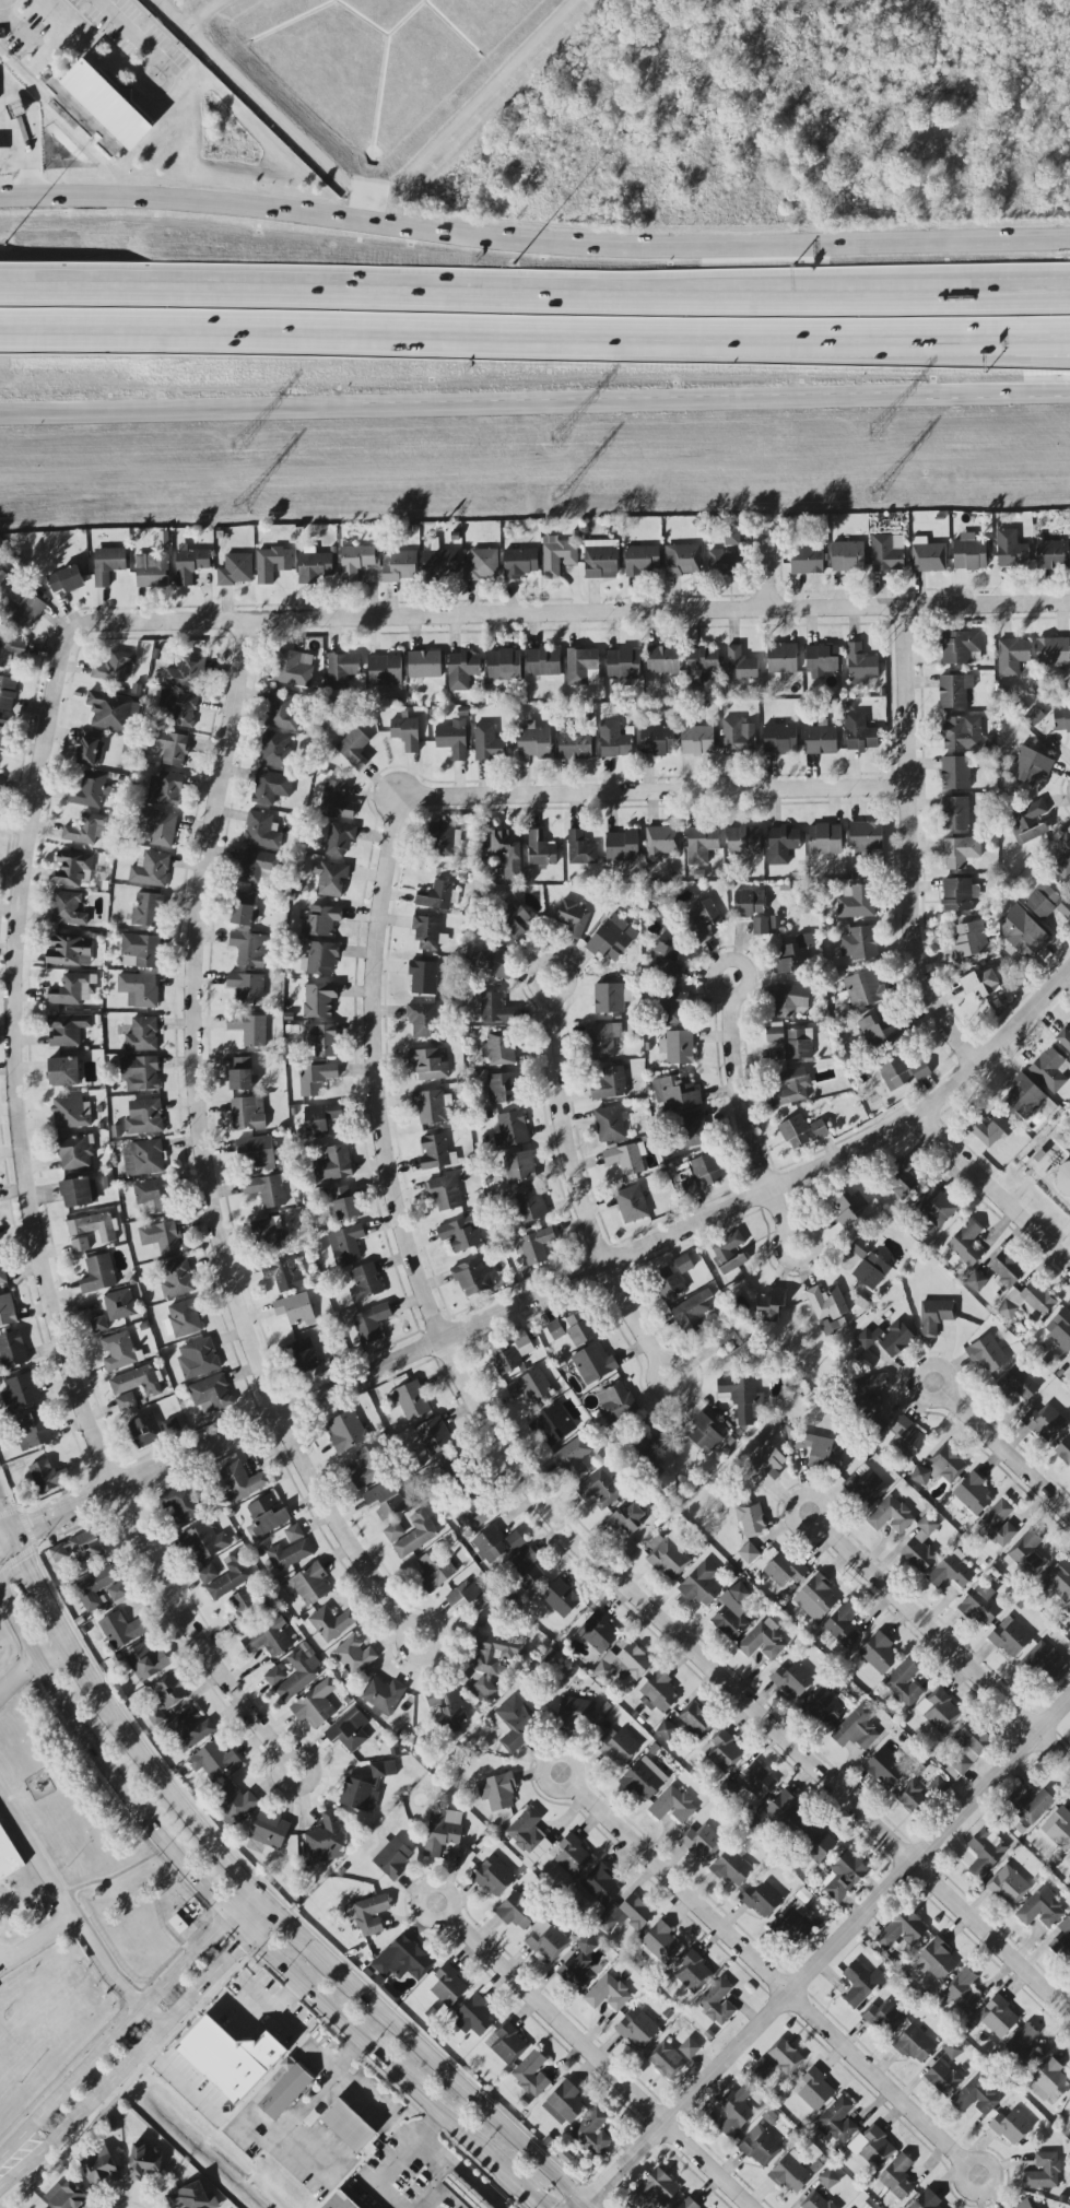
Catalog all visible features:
road: (4, 3)
road: (169, 16)
road: (212, 16)
road: (126, 25)
road: (156, 91)
road: (1, 103)
building: (103, 113)
road: (27, 160)
road: (395, 192)
road: (533, 238)
road: (534, 303)
road: (508, 328)
road: (1044, 330)
road: (1044, 332)
road: (1007, 394)
road: (471, 404)
power tower: (875, 434)
power tower: (556, 436)
power tower: (239, 446)
power tower: (872, 489)
power tower: (554, 497)
power tower: (238, 506)
building: (731, 537)
building: (1010, 550)
building: (969, 552)
building: (887, 553)
building: (928, 555)
building: (1051, 555)
building: (557, 556)
building: (848, 556)
building: (601, 559)
building: (640, 560)
building: (682, 560)
building: (807, 560)
building: (355, 561)
building: (439, 563)
building: (520, 563)
building: (724, 563)
building: (108, 564)
building: (189, 564)
building: (272, 564)
building: (481, 565)
road: (773, 565)
building: (400, 566)
building: (315, 567)
building: (236, 569)
building: (152, 571)
building: (66, 579)
building: (24, 609)
road: (567, 612)
building: (960, 646)
building: (10, 647)
building: (1053, 651)
building: (1012, 656)
building: (781, 658)
building: (662, 659)
building: (821, 660)
building: (543, 661)
building: (623, 662)
building: (424, 665)
building: (580, 665)
building: (701, 665)
building: (504, 666)
building: (741, 666)
building: (861, 666)
building: (113, 668)
building: (292, 669)
building: (342, 669)
building: (462, 669)
building: (386, 670)
building: (186, 673)
building: (954, 690)
building: (8, 693)
building: (178, 707)
building: (113, 710)
building: (282, 712)
building: (1035, 716)
building: (1061, 719)
building: (3, 732)
building: (962, 732)
building: (405, 733)
building: (859, 733)
building: (738, 737)
building: (454, 739)
building: (779, 739)
building: (614, 740)
building: (657, 740)
building: (697, 740)
building: (820, 740)
building: (533, 741)
building: (489, 743)
building: (575, 747)
building: (171, 748)
building: (354, 748)
building: (89, 750)
building: (275, 750)
building: (1030, 765)
building: (955, 773)
building: (0, 778)
building: (271, 787)
building: (164, 789)
building: (90, 790)
road: (651, 791)
building: (334, 800)
building: (955, 813)
building: (1027, 822)
building: (158, 827)
building: (85, 830)
building: (260, 831)
building: (866, 836)
building: (339, 838)
building: (443, 838)
building: (824, 839)
building: (743, 841)
building: (662, 843)
building: (781, 844)
building: (623, 845)
building: (701, 845)
road: (908, 846)
building: (540, 849)
building: (580, 849)
building: (507, 852)
building: (961, 852)
building: (1061, 856)
building: (257, 866)
building: (73, 869)
building: (150, 870)
building: (330, 878)
building: (956, 894)
building: (435, 895)
building: (1043, 901)
building: (856, 902)
building: (69, 908)
building: (751, 908)
building: (146, 909)
building: (245, 909)
building: (1063, 909)
building: (514, 916)
building: (574, 918)
building: (321, 920)
building: (704, 921)
building: (1023, 932)
building: (426, 933)
building: (612, 938)
building: (969, 940)
building: (859, 942)
building: (249, 949)
building: (68, 951)
building: (140, 951)
building: (795, 954)
building: (320, 959)
building: (666, 959)
building: (492, 962)
building: (423, 977)
building: (981, 984)
building: (247, 986)
building: (72, 989)
building: (139, 989)
building: (863, 989)
road: (543, 993)
road: (721, 993)
building: (609, 998)
building: (319, 1000)
building: (790, 1000)
building: (672, 1007)
building: (495, 1008)
building: (422, 1020)
building: (249, 1029)
building: (69, 1030)
building: (879, 1030)
building: (775, 1032)
building: (142, 1035)
building: (321, 1040)
building: (601, 1040)
building: (1063, 1040)
building: (799, 1044)
building: (497, 1047)
building: (678, 1047)
building: (428, 1065)
building: (1049, 1070)
building: (63, 1071)
building: (903, 1072)
building: (140, 1073)
building: (240, 1073)
building: (316, 1079)
building: (610, 1084)
building: (792, 1087)
building: (501, 1088)
building: (675, 1093)
building: (1023, 1096)
building: (432, 1106)
building: (71, 1113)
building: (248, 1114)
building: (144, 1117)
road: (743, 1117)
building: (319, 1119)
building: (610, 1124)
building: (990, 1128)
building: (510, 1129)
building: (693, 1129)
building: (820, 1129)
building: (796, 1131)
road: (198, 1146)
building: (75, 1152)
building: (257, 1152)
building: (436, 1152)
building: (143, 1158)
building: (626, 1159)
building: (333, 1164)
building: (519, 1167)
building: (698, 1174)
building: (901, 1178)
building: (1063, 1178)
road: (578, 1187)
building: (268, 1189)
road: (993, 1190)
building: (79, 1193)
building: (445, 1193)
building: (152, 1196)
building: (346, 1202)
building: (632, 1203)
building: (530, 1207)
building: (850, 1207)
building: (936, 1207)
road: (30, 1222)
building: (94, 1226)
building: (268, 1232)
building: (461, 1234)
road: (784, 1234)
building: (161, 1237)
building: (80, 1244)
building: (345, 1244)
building: (966, 1244)
building: (729, 1253)
building: (683, 1264)
building: (868, 1265)
building: (1007, 1269)
building: (2, 1271)
building: (284, 1273)
building: (97, 1275)
building: (472, 1278)
building: (176, 1279)
building: (976, 1281)
building: (669, 1282)
building: (365, 1283)
road: (556, 1288)
building: (1037, 1299)
building: (826, 1303)
building: (119, 1304)
building: (769, 1305)
building: (294, 1308)
building: (8, 1311)
building: (692, 1312)
building: (934, 1316)
building: (183, 1319)
building: (372, 1323)
building: (99, 1324)
building: (830, 1326)
building: (573, 1328)
building: (1060, 1329)
building: (866, 1339)
building: (896, 1339)
building: (736, 1344)
building: (12, 1350)
building: (120, 1351)
building: (510, 1353)
building: (987, 1354)
building: (304, 1355)
building: (198, 1359)
building: (593, 1363)
road: (657, 1366)
building: (137, 1382)
building: (1015, 1384)
building: (531, 1387)
building: (21, 1391)
building: (868, 1393)
building: (211, 1394)
building: (743, 1397)
road: (943, 1398)
building: (410, 1400)
building: (615, 1401)
building: (126, 1402)
building: (1045, 1422)
building: (551, 1425)
building: (871, 1425)
building: (173, 1428)
building: (33, 1431)
building: (145, 1431)
building: (346, 1432)
building: (705, 1434)
building: (434, 1436)
building: (905, 1437)
building: (815, 1448)
building: (1065, 1451)
road: (1008, 1455)
building: (572, 1458)
building: (648, 1463)
building: (767, 1465)
building: (368, 1467)
building: (940, 1468)
building: (447, 1472)
building: (48, 1476)
building: (242, 1481)
building: (866, 1485)
building: (599, 1490)
building: (972, 1495)
road: (542, 1500)
building: (385, 1501)
road: (793, 1503)
building: (181, 1504)
building: (471, 1512)
building: (891, 1516)
building: (267, 1517)
building: (627, 1518)
building: (751, 1520)
road: (4, 1524)
building: (998, 1525)
building: (412, 1534)
traffic signals: (9, 1538)
building: (515, 1540)
building: (204, 1541)
building: (491, 1545)
building: (921, 1546)
building: (85, 1547)
building: (290, 1550)
building: (59, 1553)
building: (1027, 1554)
building: (745, 1555)
building: (670, 1557)
building: (785, 1569)
building: (435, 1570)
building: (526, 1570)
building: (951, 1573)
building: (208, 1574)
building: (230, 1576)
building: (1058, 1581)
building: (310, 1584)
building: (701, 1585)
building: (95, 1587)
building: (117, 1592)
building: (561, 1598)
building: (816, 1598)
building: (468, 1599)
building: (245, 1604)
building: (981, 1606)
building: (732, 1612)
road: (51, 1623)
building: (330, 1624)
building: (843, 1625)
building: (1069, 1628)
building: (121, 1630)
road: (403, 1632)
building: (599, 1632)
building: (269, 1637)
building: (1010, 1637)
building: (763, 1641)
road: (944, 1645)
road: (47, 1648)
building: (879, 1653)
building: (355, 1655)
building: (145, 1661)
building: (1043, 1661)
building: (624, 1663)
road: (16, 1673)
building: (275, 1676)
building: (793, 1680)
building: (904, 1683)
building: (171, 1690)
building: (659, 1693)
building: (383, 1696)
building: (433, 1699)
building: (316, 1704)
building: (825, 1707)
building: (939, 1711)
building: (450, 1712)
building: (576, 1713)
building: (696, 1722)
building: (515, 1723)
building: (191, 1728)
building: (857, 1728)
building: (349, 1730)
building: (618, 1746)
building: (968, 1749)
building: (724, 1751)
road: (279, 1761)
building: (213, 1762)
building: (383, 1769)
building: (885, 1769)
building: (644, 1778)
building: (759, 1780)
road: (576, 1783)
building: (497, 1792)
building: (920, 1794)
building: (358, 1795)
building: (235, 1802)
road: (177, 1805)
building: (1030, 1805)
building: (672, 1806)
building: (785, 1811)
building: (1058, 1829)
building: (270, 1830)
building: (526, 1830)
building: (442, 1831)
building: (326, 1840)
building: (702, 1842)
building: (815, 1842)
building: (986, 1851)
building: (537, 1853)
road: (37, 1856)
building: (392, 1856)
building: (572, 1856)
building: (1068, 1859)
building: (7, 1860)
building: (732, 1868)
building: (494, 1876)
building: (843, 1876)
building: (1008, 1884)
building: (599, 1886)
road: (423, 1891)
building: (804, 1896)
building: (763, 1899)
road: (216, 1903)
road: (245, 1905)
building: (1040, 1910)
building: (517, 1911)
building: (368, 1914)
road: (256, 1915)
road: (286, 1921)
building: (795, 1923)
building: (902, 1930)
building: (545, 1939)
building: (1063, 1940)
building: (660, 1942)
road: (37, 1948)
road: (825, 1953)
building: (936, 1960)
building: (403, 1961)
building: (580, 1964)
building: (693, 1973)
road: (767, 1975)
road: (113, 1978)
road: (255, 1982)
building: (860, 1984)
building: (448, 1986)
building: (963, 1989)
building: (608, 1994)
building: (717, 2001)
building: (474, 2017)
building: (998, 2017)
building: (886, 2018)
building: (637, 2028)
road: (113, 2035)
road: (281, 2043)
building: (507, 2044)
building: (915, 2044)
building: (690, 2048)
building: (1022, 2048)
building: (785, 2056)
building: (231, 2058)
building: (666, 2059)
road: (598, 2063)
road: (126, 2064)
building: (762, 2068)
building: (531, 2074)
road: (447, 2075)
road: (181, 2078)
building: (943, 2078)
building: (1048, 2082)
road: (322, 2088)
building: (285, 2089)
building: (815, 2090)
building: (976, 2098)
building: (564, 2103)
building: (734, 2112)
building: (839, 2119)
building: (349, 2125)
building: (1011, 2127)
building: (592, 2131)
building: (761, 2147)
building: (872, 2147)
building: (144, 2161)
road: (399, 2161)
road: (963, 2162)
building: (99, 2168)
road: (461, 2171)
building: (1045, 2172)
building: (791, 2174)
building: (827, 2178)
building: (896, 2178)
road: (515, 2186)
road: (498, 2187)
building: (463, 2192)
road: (437, 2193)
building: (67, 2195)
building: (192, 2197)
building: (340, 2201)
building: (819, 2201)
building: (926, 2201)
building: (689, 2204)
building: (1024, 2204)
road: (586, 2207)

